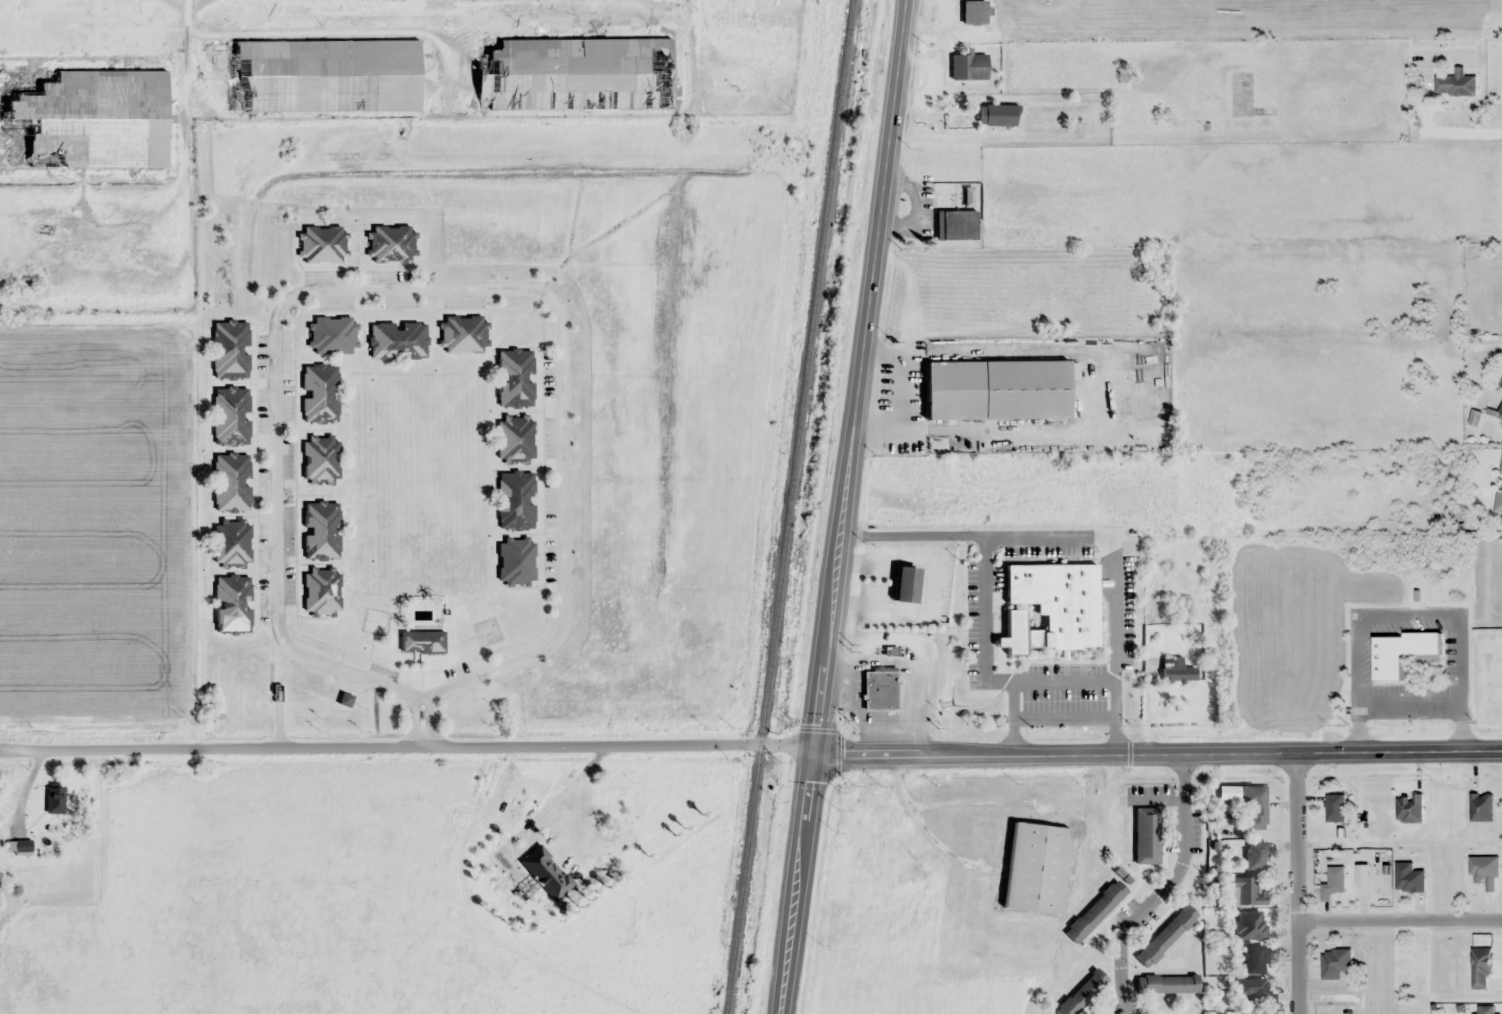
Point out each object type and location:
building: (973, 12)
railway: (838, 49)
building: (968, 65)
building: (573, 73)
building: (321, 75)
building: (1456, 84)
building: (996, 114)
building: (82, 118)
road: (187, 124)
building: (955, 224)
building: (390, 243)
building: (321, 244)
road: (440, 290)
building: (462, 333)
building: (1129, 333)
building: (330, 334)
building: (397, 340)
building: (230, 349)
building: (514, 378)
building: (1501, 384)
building: (997, 389)
building: (319, 393)
building: (1500, 412)
building: (230, 416)
building: (515, 437)
building: (320, 459)
building: (1501, 468)
building: (231, 482)
building: (515, 500)
building: (1498, 503)
railway: (789, 506)
road: (841, 506)
building: (320, 530)
building: (231, 542)
building: (515, 560)
building: (905, 584)
building: (321, 589)
building: (1058, 600)
building: (232, 604)
building: (421, 641)
building: (1402, 654)
building: (1176, 669)
building: (880, 690)
road: (417, 741)
road: (10, 743)
traffic signals: (813, 753)
road: (1157, 757)
building: (54, 799)
building: (1481, 806)
building: (1254, 807)
building: (1335, 808)
building: (1409, 808)
building: (1146, 835)
building: (18, 845)
building: (1255, 855)
building: (1036, 868)
building: (1485, 871)
building: (543, 873)
building: (1409, 878)
building: (1333, 882)
road: (1299, 886)
building: (1245, 891)
road: (1165, 892)
building: (1094, 911)
building: (1251, 925)
building: (1165, 935)
building: (1255, 959)
building: (1336, 963)
building: (1481, 969)
building: (1166, 983)
building: (1253, 989)
building: (1082, 993)
building: (1488, 1009)

